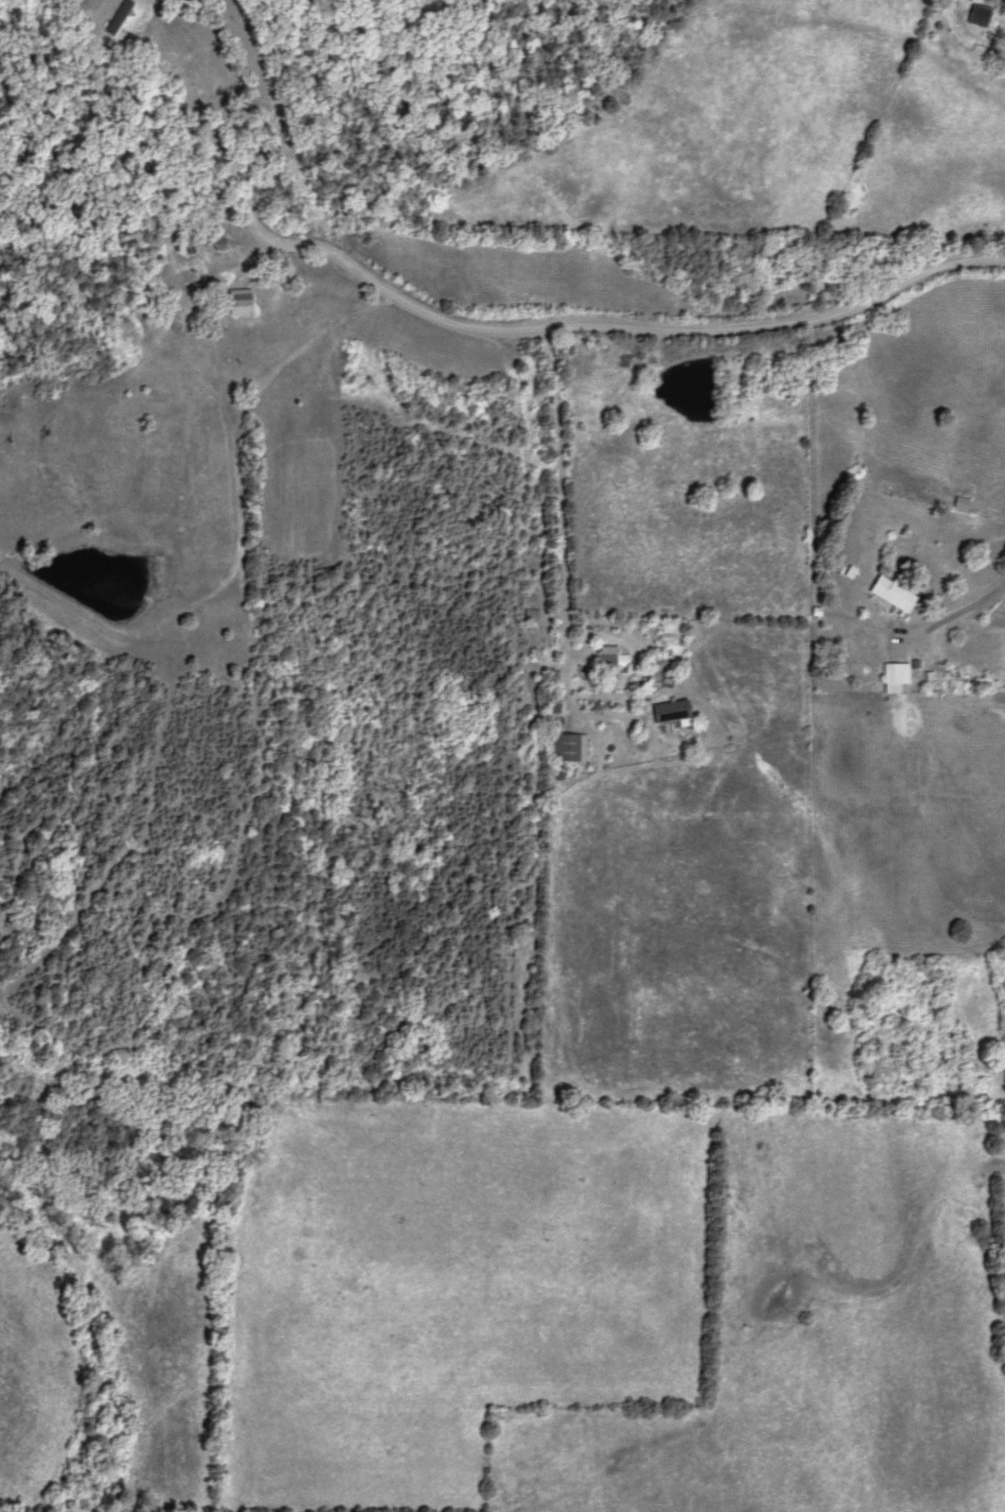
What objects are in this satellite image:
building: (979, 15)
building: (240, 302)
road: (502, 330)
building: (960, 504)
road: (565, 545)
building: (893, 594)
building: (612, 662)
building: (896, 677)
building: (674, 713)
building: (571, 748)

